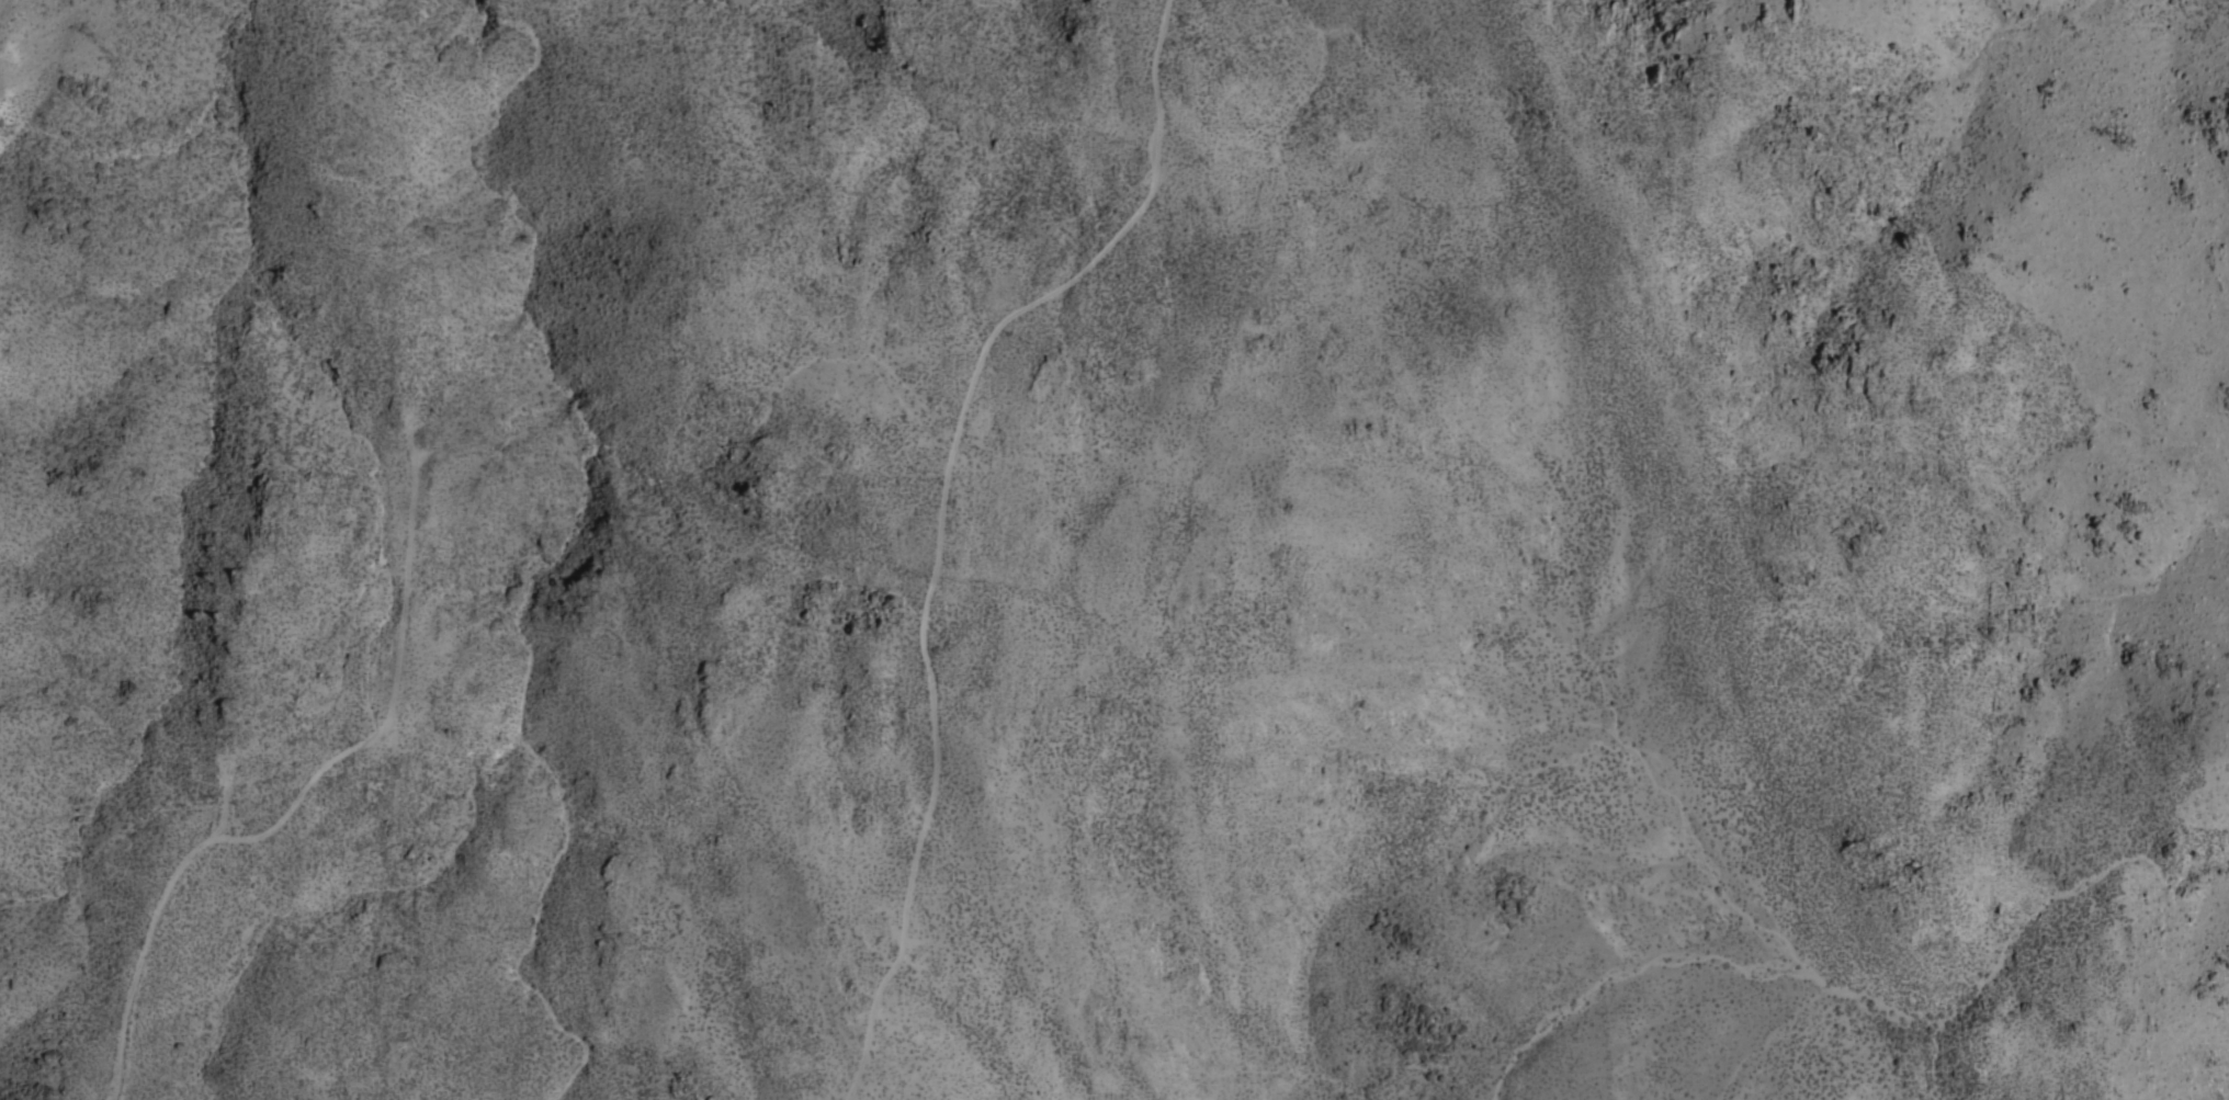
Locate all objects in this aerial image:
road: (943, 515)
road: (411, 554)
road: (220, 846)

